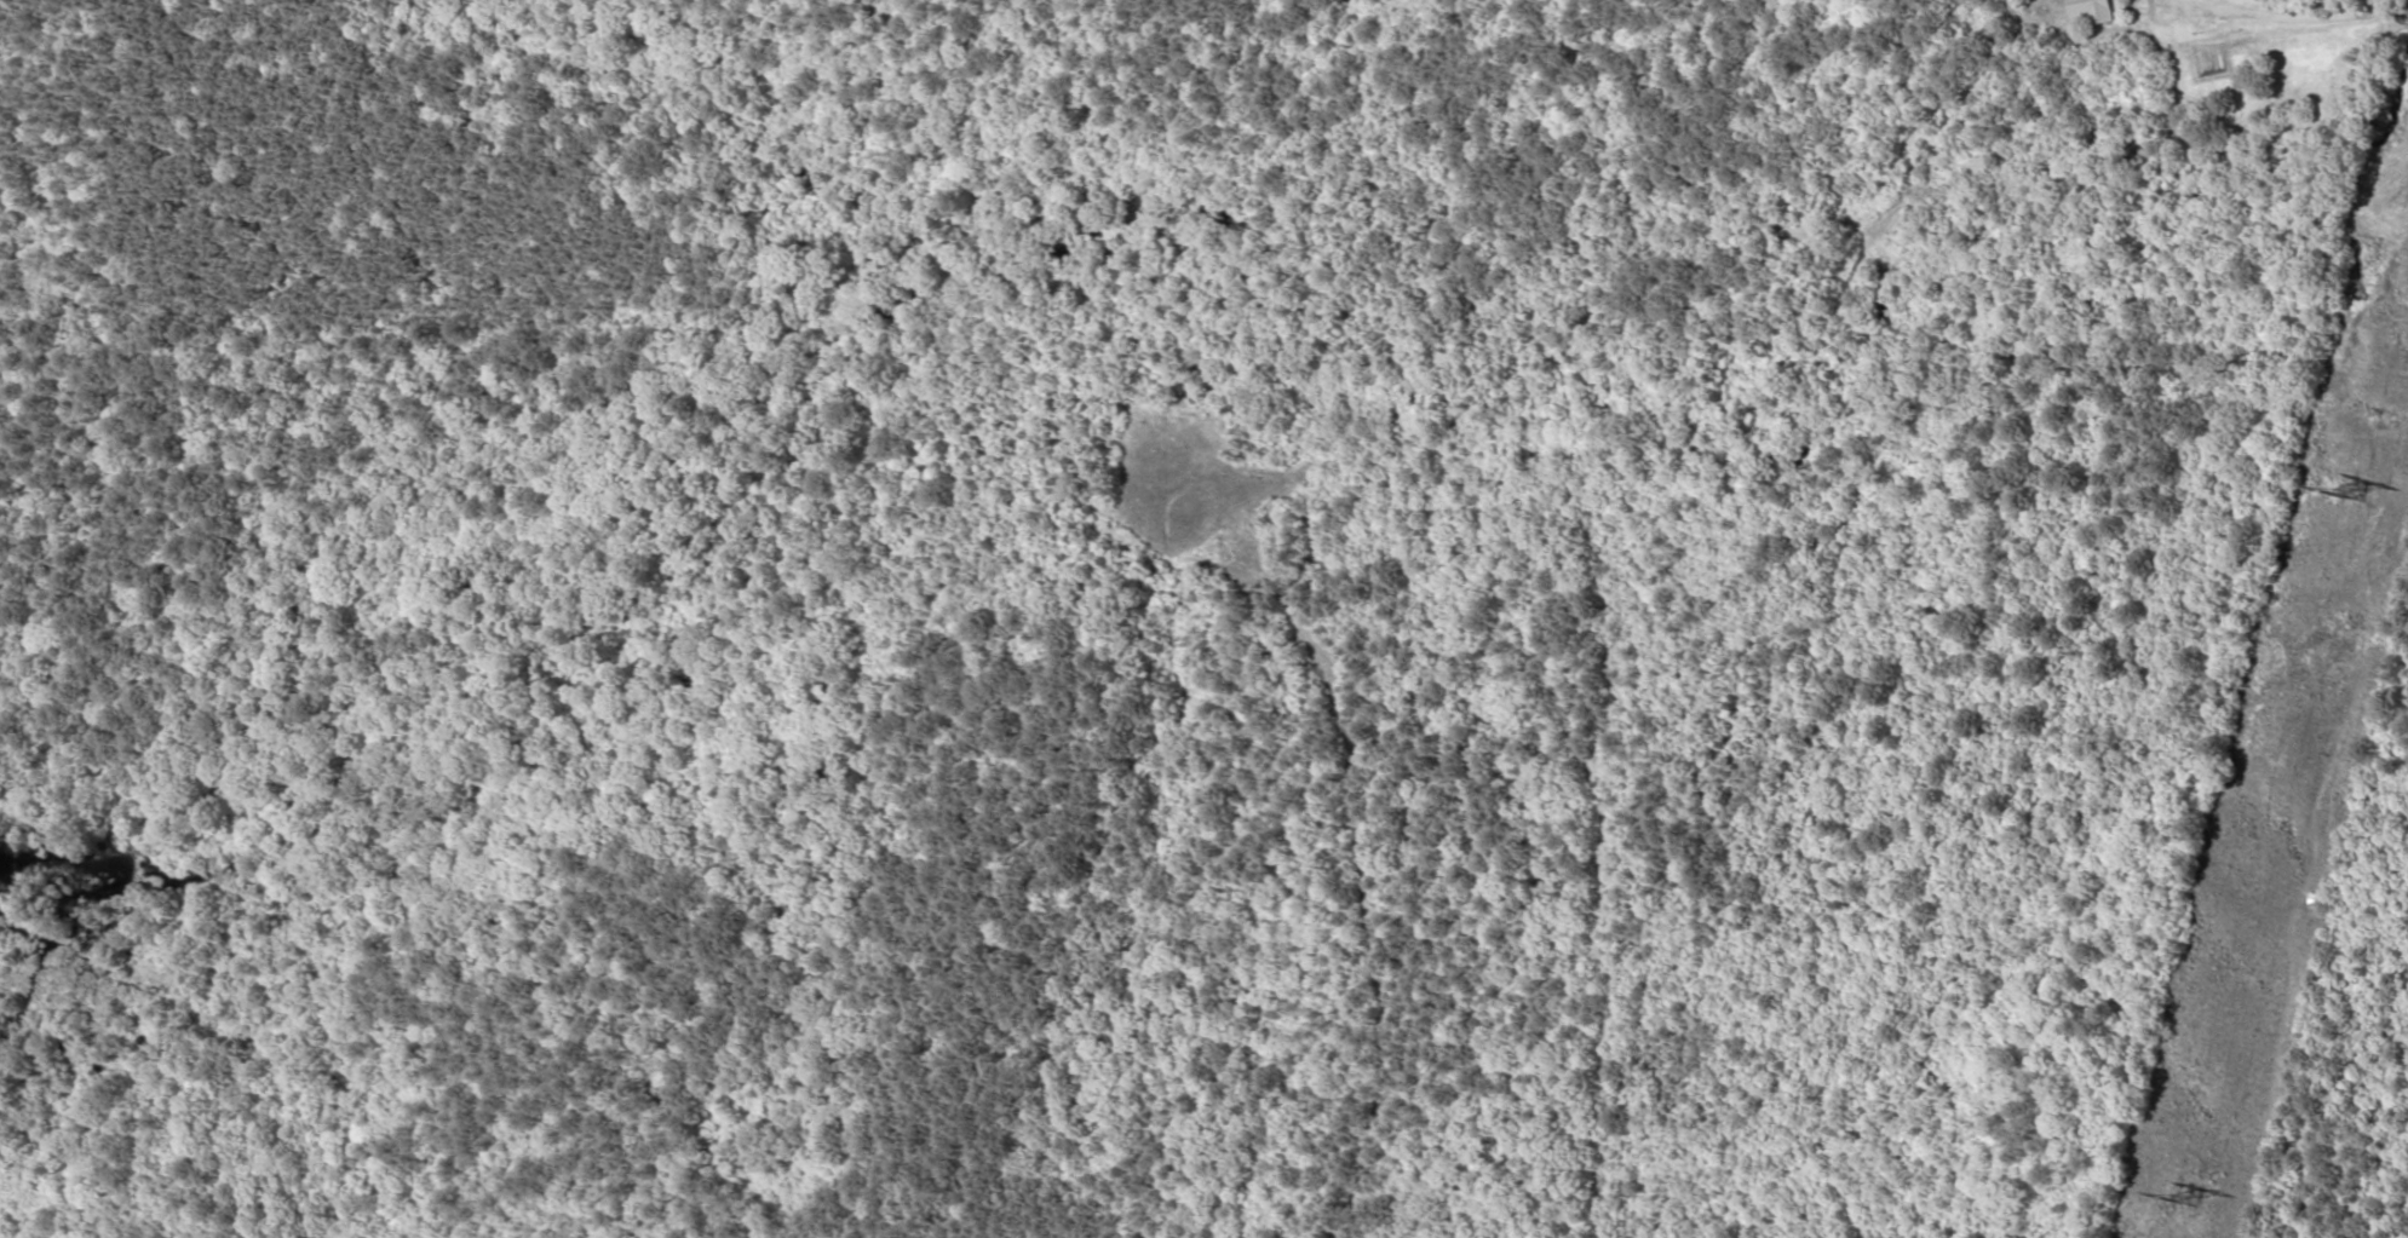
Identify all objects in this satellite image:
building: (2093, 10)
power tower: (2363, 489)
power tower: (2213, 1194)

